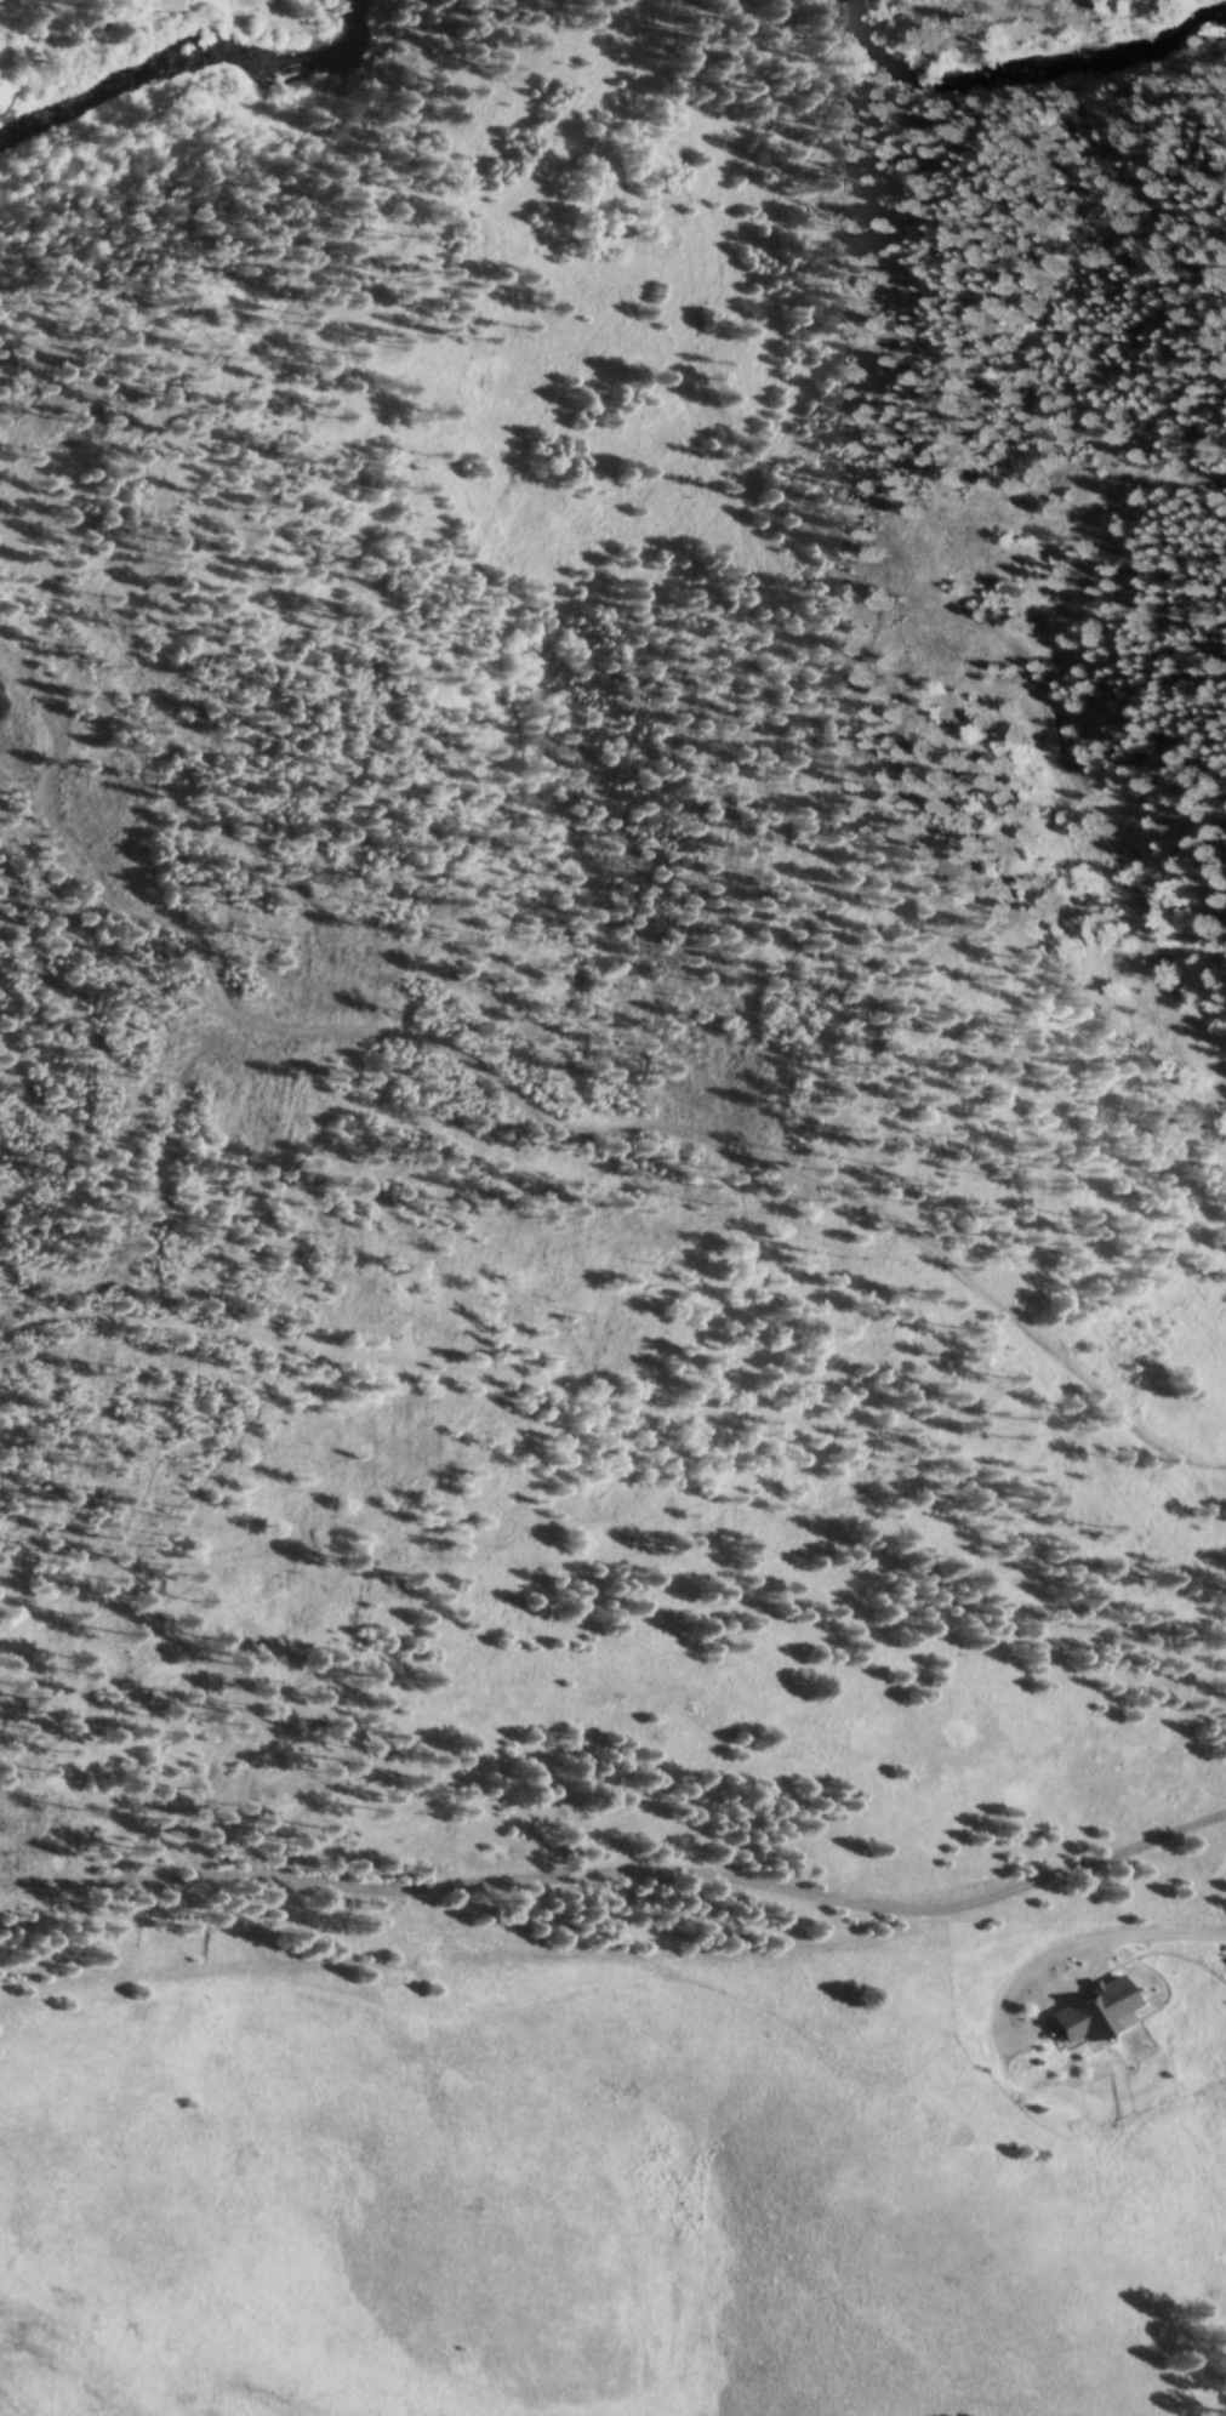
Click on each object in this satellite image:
road: (15, 4)
road: (621, 1877)
road: (1070, 1966)
building: (1102, 2025)

